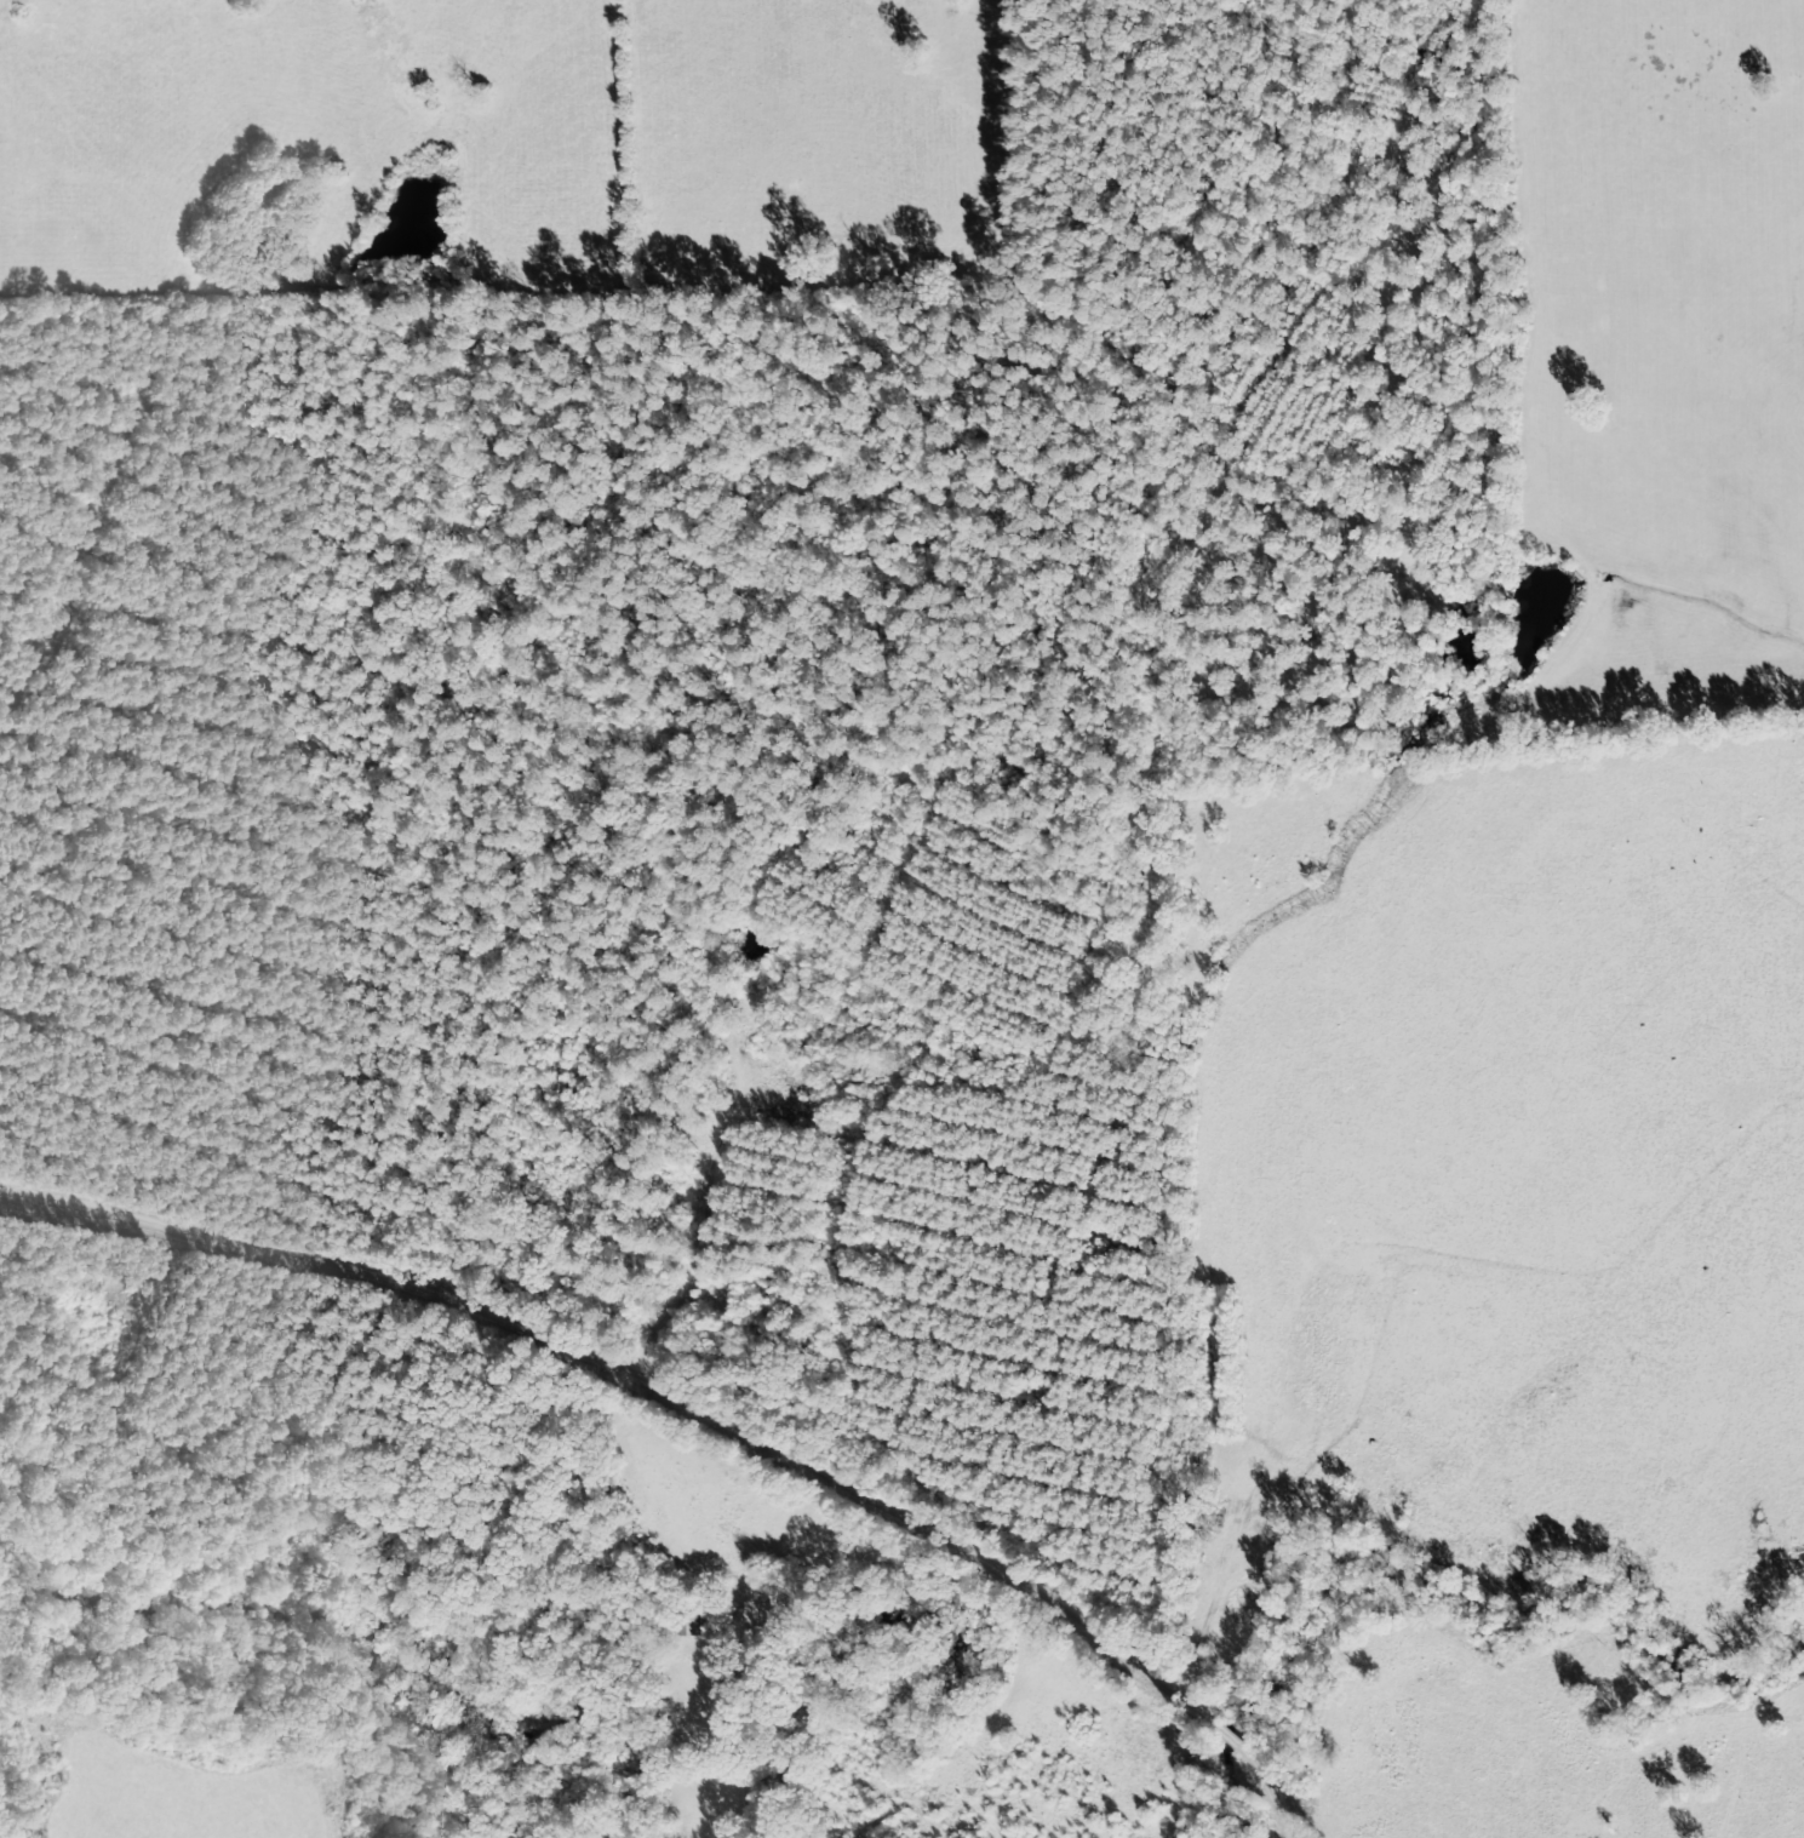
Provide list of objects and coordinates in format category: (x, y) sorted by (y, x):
road: (703, 1408)
building: (687, 1616)

